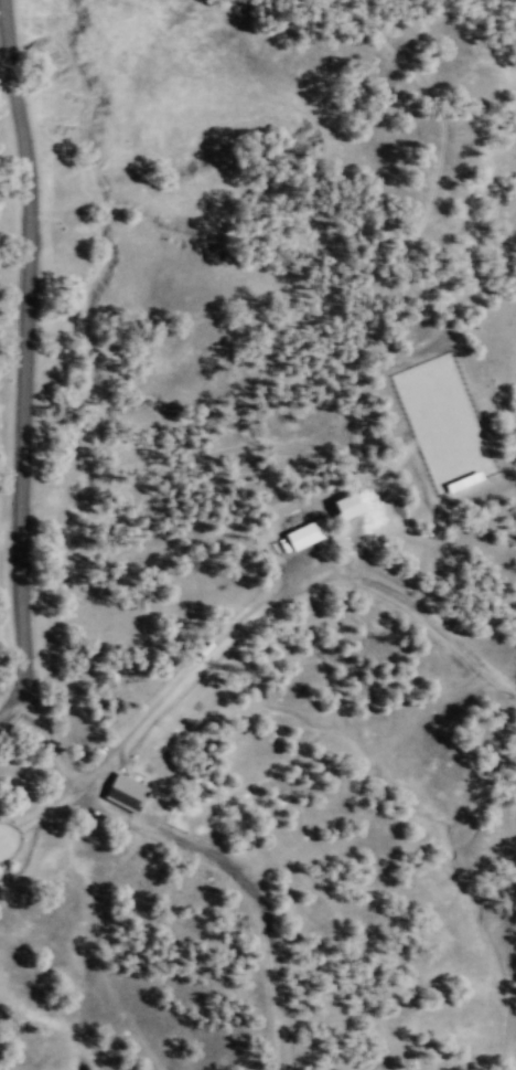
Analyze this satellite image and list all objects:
road: (22, 349)
park: (443, 421)
building: (345, 504)
building: (303, 532)
road: (276, 591)
road: (12, 710)
building: (122, 792)
road: (204, 849)

